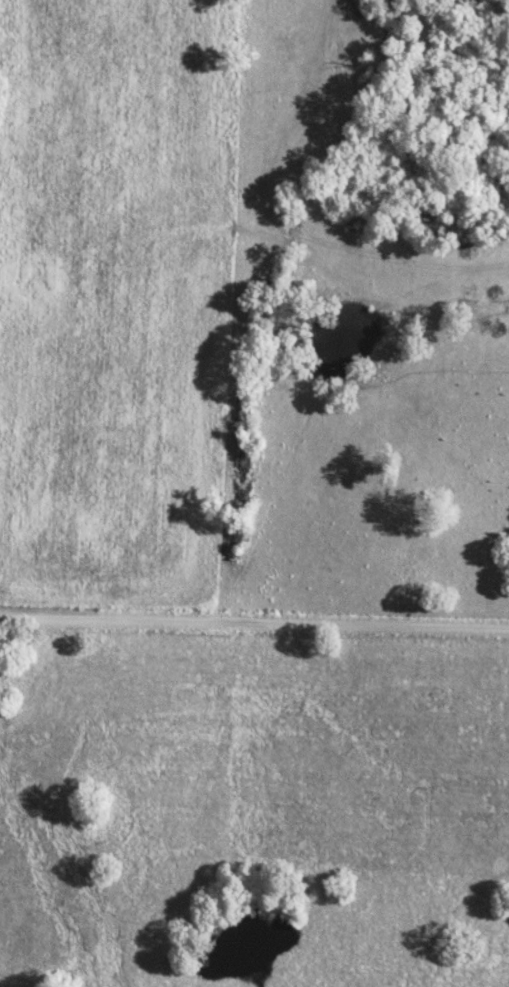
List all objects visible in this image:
road: (454, 269)
road: (254, 623)

